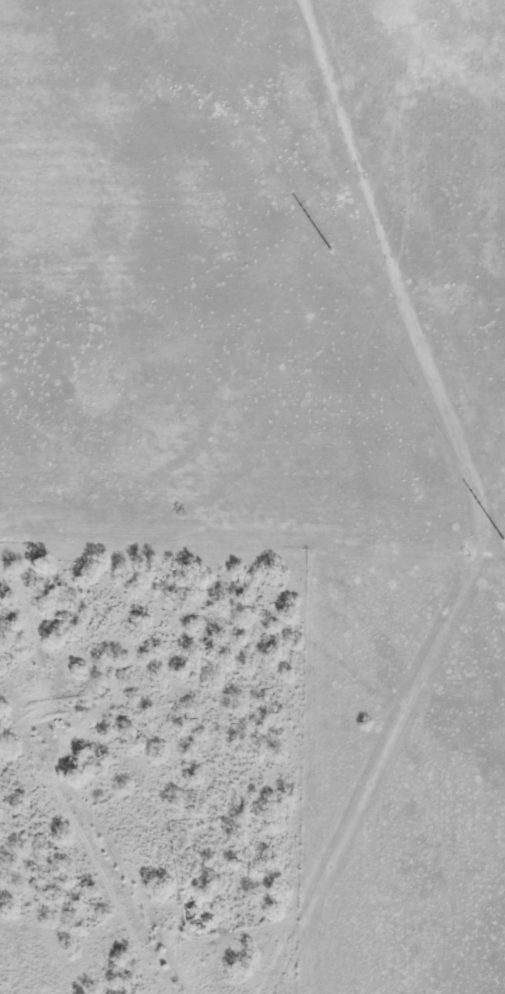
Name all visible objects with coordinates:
power tower: (330, 248)
power tower: (504, 542)

